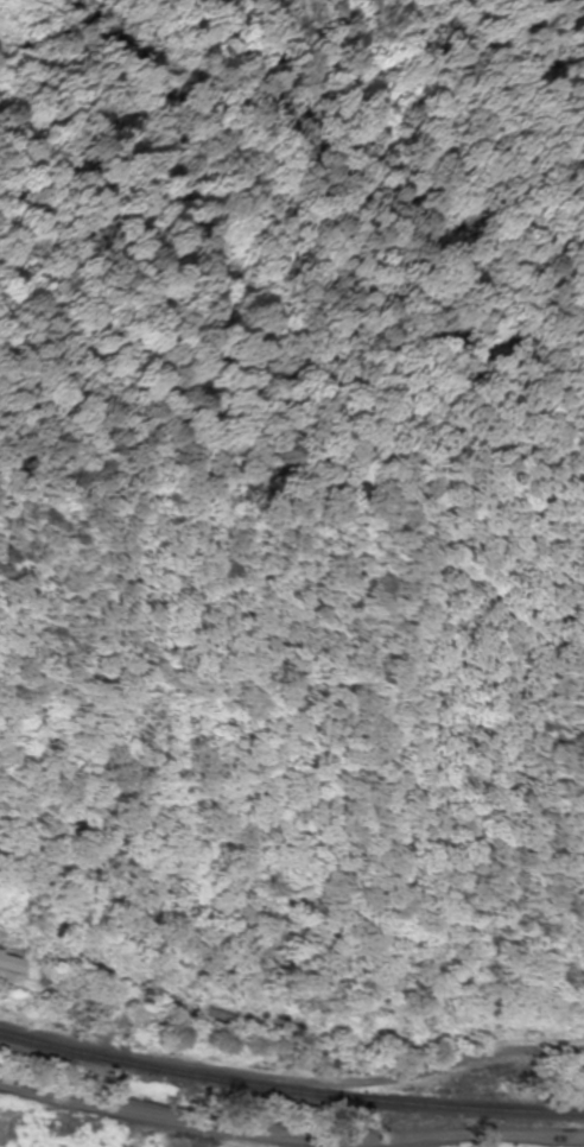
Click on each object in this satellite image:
building: (78, 0)
building: (12, 965)
railway: (290, 1090)
road: (290, 1136)

